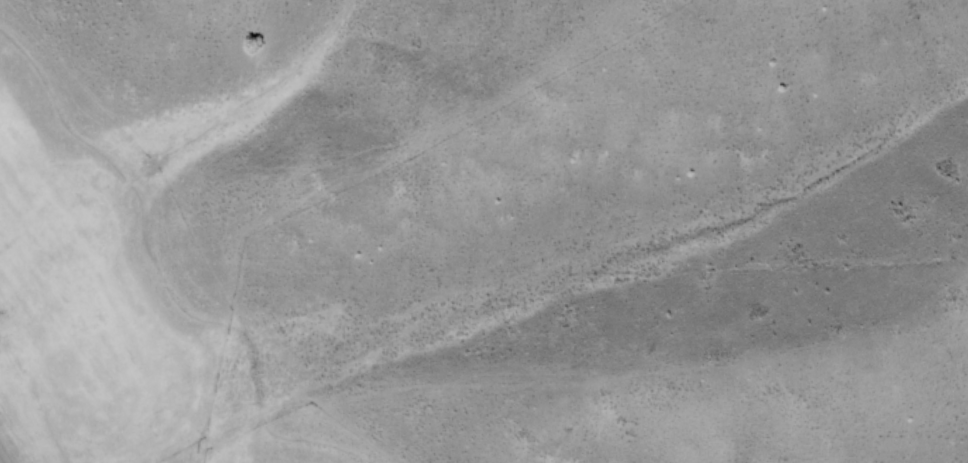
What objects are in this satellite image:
road: (2, 458)

